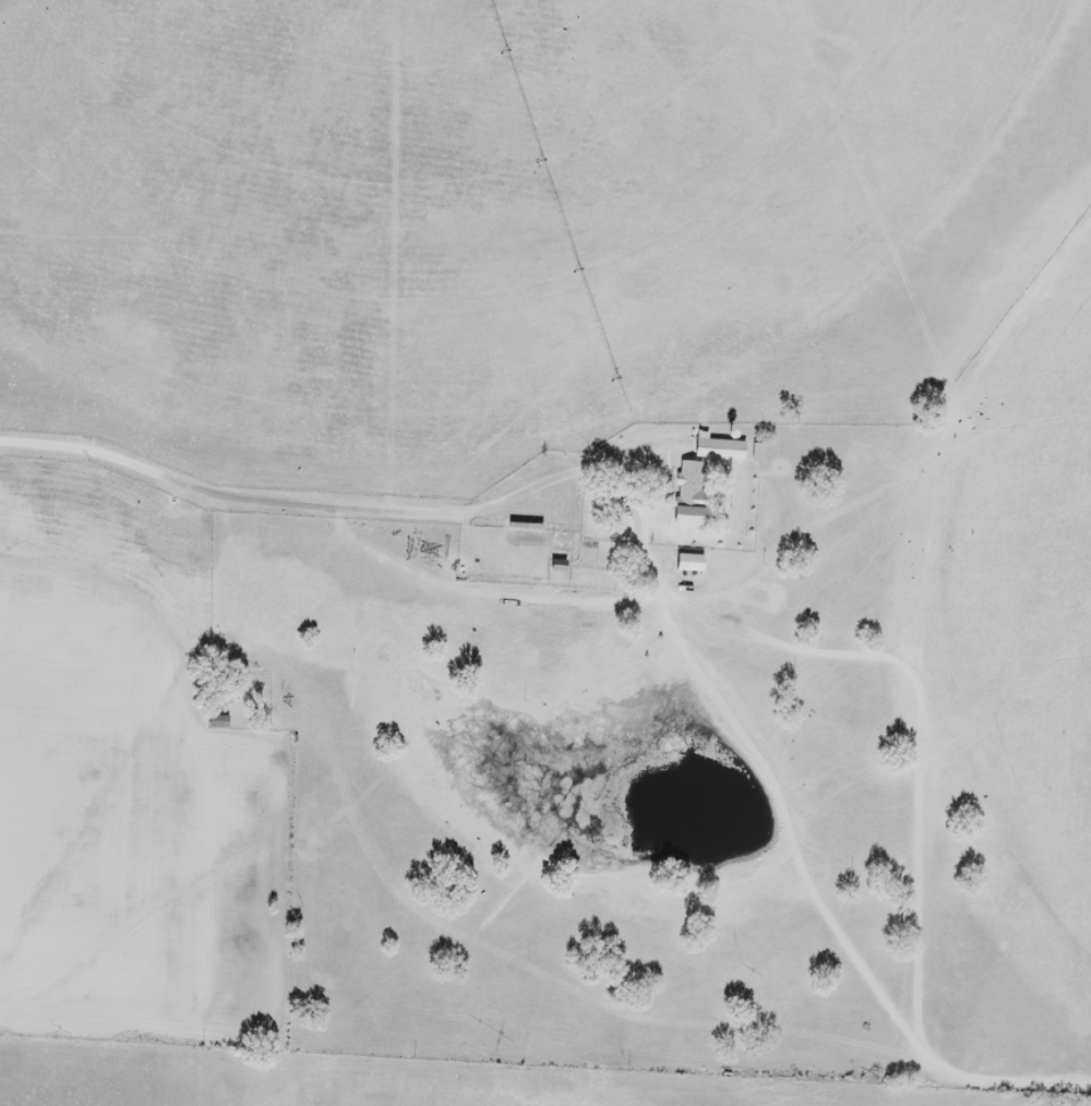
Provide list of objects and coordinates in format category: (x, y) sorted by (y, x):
building: (692, 486)
road: (346, 519)
building: (589, 544)
building: (690, 562)
building: (588, 580)
building: (644, 669)
road: (922, 827)

